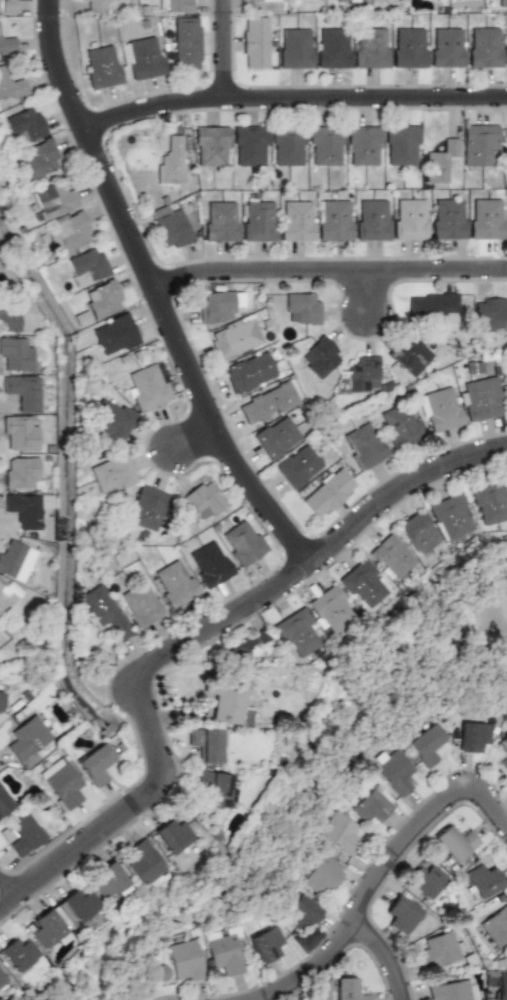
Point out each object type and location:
building: (261, 0)
building: (340, 0)
building: (349, 0)
building: (501, 3)
building: (95, 5)
building: (7, 6)
building: (175, 6)
building: (255, 42)
building: (7, 43)
building: (187, 43)
road: (231, 47)
building: (447, 47)
building: (485, 47)
building: (506, 47)
building: (296, 48)
building: (333, 48)
building: (371, 48)
building: (409, 48)
building: (143, 57)
building: (102, 66)
building: (12, 84)
road: (293, 94)
building: (26, 123)
building: (506, 144)
building: (324, 145)
building: (401, 145)
building: (479, 145)
building: (211, 146)
building: (250, 146)
building: (287, 146)
building: (363, 146)
building: (40, 158)
building: (440, 161)
building: (171, 162)
building: (53, 200)
building: (448, 218)
building: (410, 219)
building: (486, 219)
building: (333, 220)
building: (372, 220)
building: (221, 221)
building: (259, 221)
building: (297, 221)
building: (171, 227)
building: (70, 233)
building: (86, 266)
road: (332, 277)
road: (161, 296)
building: (103, 299)
road: (375, 299)
building: (220, 305)
building: (432, 306)
building: (302, 308)
building: (490, 314)
building: (9, 317)
building: (115, 334)
building: (236, 338)
building: (16, 353)
building: (409, 354)
building: (320, 356)
building: (250, 372)
building: (363, 373)
building: (149, 386)
building: (22, 392)
building: (506, 392)
building: (480, 398)
building: (268, 403)
building: (440, 410)
building: (111, 420)
building: (402, 425)
building: (21, 430)
building: (277, 437)
road: (202, 445)
building: (364, 446)
building: (298, 466)
building: (21, 473)
building: (111, 476)
building: (204, 500)
building: (488, 502)
building: (147, 508)
building: (26, 509)
building: (449, 518)
building: (418, 533)
building: (242, 542)
building: (392, 556)
building: (15, 560)
building: (209, 564)
road: (323, 565)
building: (175, 583)
building: (363, 584)
building: (7, 595)
building: (142, 604)
building: (329, 608)
building: (104, 611)
building: (296, 633)
building: (248, 642)
building: (0, 694)
building: (227, 699)
road: (181, 716)
building: (471, 735)
building: (29, 736)
building: (206, 743)
building: (426, 744)
building: (502, 752)
building: (96, 763)
building: (394, 772)
building: (61, 784)
building: (216, 788)
building: (4, 802)
building: (369, 805)
road: (129, 818)
building: (339, 832)
building: (23, 834)
building: (7, 835)
building: (173, 835)
building: (453, 842)
building: (145, 864)
road: (380, 871)
building: (320, 875)
building: (109, 880)
building: (424, 880)
building: (480, 881)
road: (8, 895)
building: (73, 908)
building: (303, 908)
building: (402, 914)
building: (496, 925)
building: (45, 929)
building: (265, 943)
building: (437, 949)
building: (224, 950)
building: (18, 953)
road: (381, 957)
building: (185, 961)
building: (2, 981)
building: (500, 986)
building: (347, 989)
building: (448, 990)

